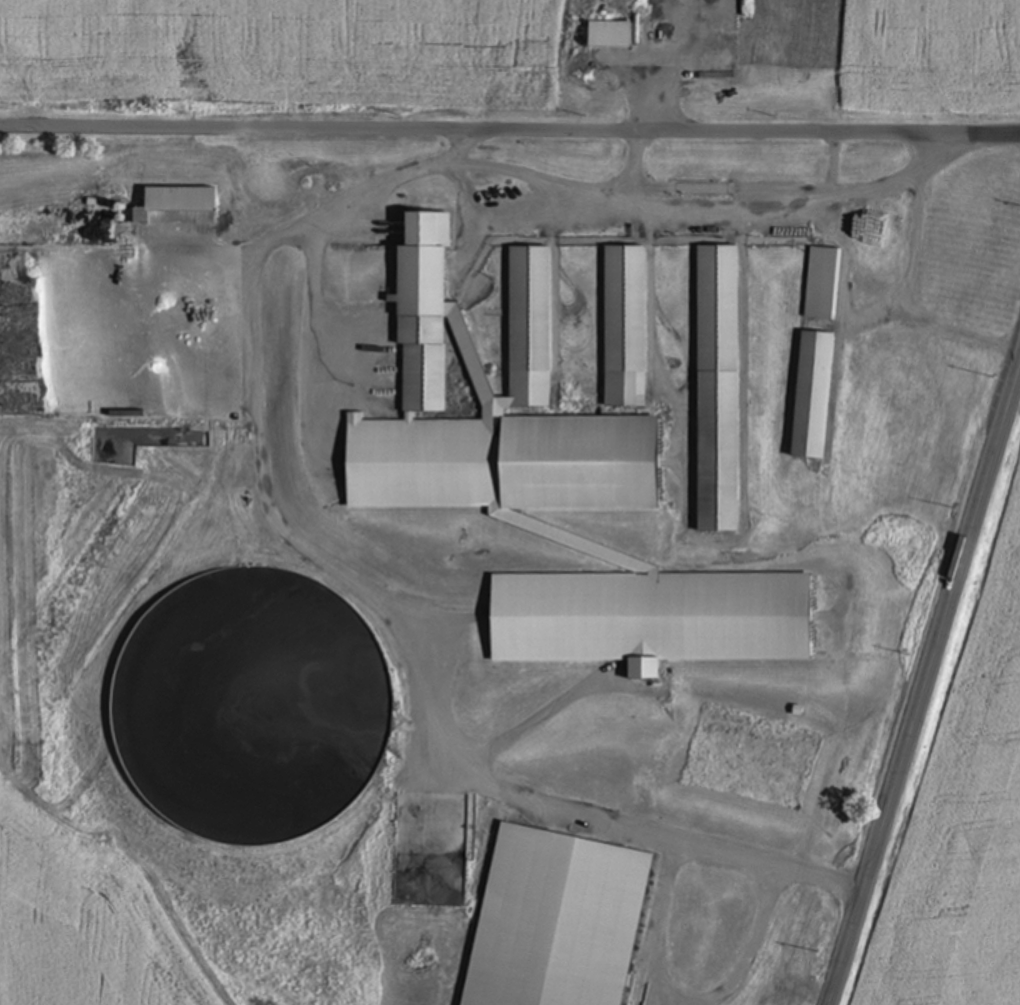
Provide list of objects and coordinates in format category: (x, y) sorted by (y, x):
building: (611, 35)
road: (509, 135)
road: (830, 163)
road: (546, 180)
road: (788, 187)
building: (873, 229)
building: (823, 284)
road: (905, 295)
building: (626, 309)
building: (530, 310)
building: (424, 328)
building: (719, 389)
building: (814, 396)
building: (560, 464)
road: (359, 593)
road: (929, 686)
building: (659, 914)
road: (682, 999)

